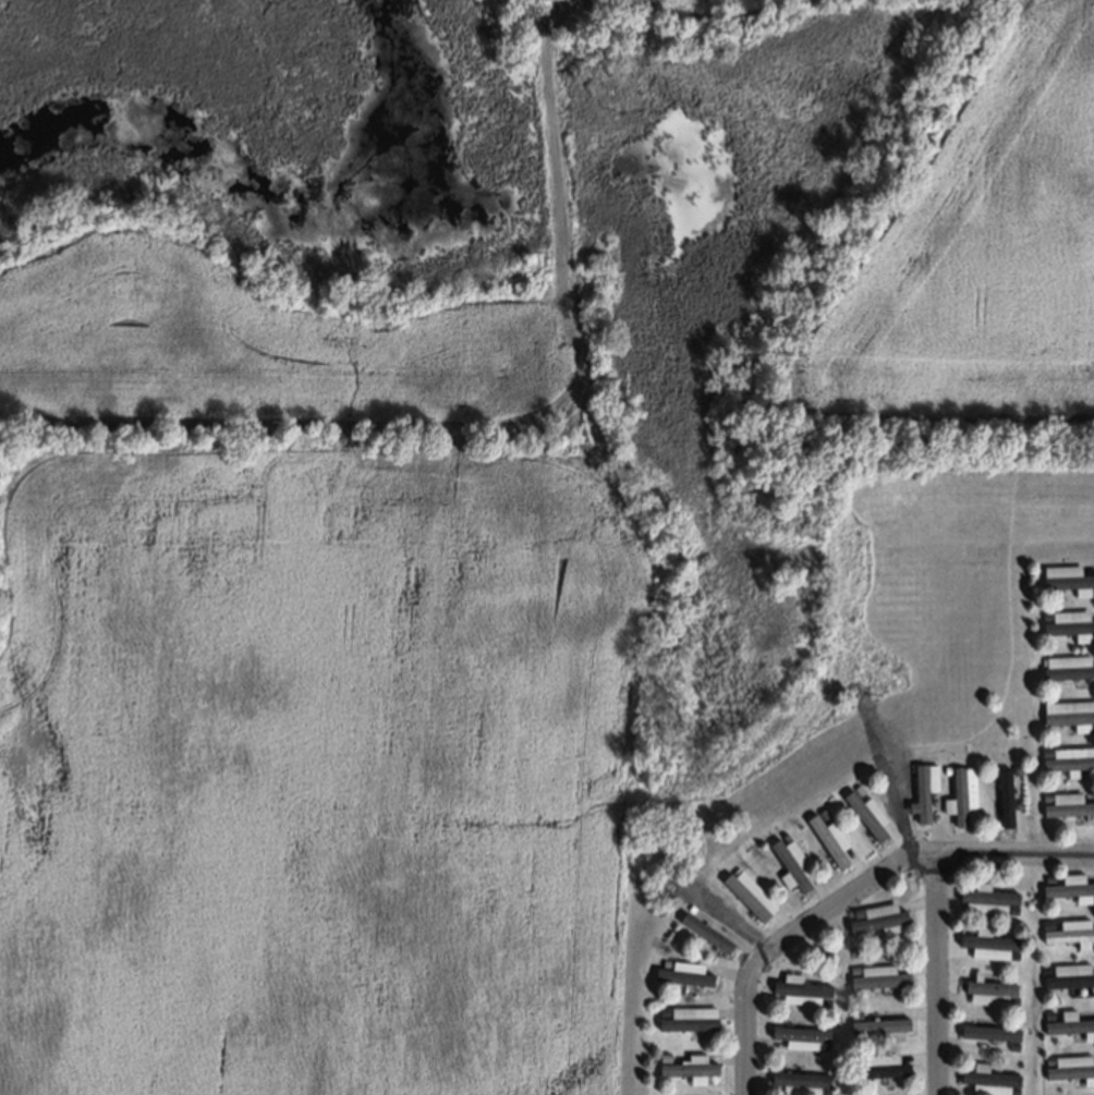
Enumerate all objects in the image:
building: (1063, 575)
building: (1045, 613)
building: (1068, 621)
building: (1067, 666)
building: (1067, 711)
building: (1044, 751)
building: (1067, 757)
building: (944, 768)
building: (856, 788)
building: (923, 788)
building: (960, 794)
building: (1004, 795)
building: (1045, 796)
building: (1067, 803)
building: (820, 812)
building: (866, 813)
building: (782, 836)
building: (829, 837)
building: (790, 863)
building: (1047, 878)
building: (1070, 887)
building: (747, 893)
road: (853, 895)
building: (984, 898)
building: (688, 908)
building: (1010, 909)
building: (854, 912)
building: (878, 918)
building: (1045, 924)
building: (704, 930)
building: (1070, 930)
building: (987, 942)
building: (1012, 953)
building: (664, 962)
building: (852, 969)
building: (1045, 969)
building: (682, 972)
building: (1069, 974)
road: (943, 975)
building: (877, 976)
building: (798, 989)
building: (988, 990)
building: (1013, 999)
building: (825, 1000)
building: (661, 1011)
building: (853, 1013)
building: (1047, 1014)
building: (683, 1019)
building: (877, 1024)
building: (1068, 1025)
building: (988, 1031)
building: (799, 1036)
building: (1011, 1045)
building: (826, 1046)
building: (661, 1056)
building: (1046, 1060)
building: (876, 1064)
building: (1069, 1066)
building: (685, 1068)
building: (987, 1081)
building: (799, 1082)
building: (825, 1091)
building: (1012, 1091)

